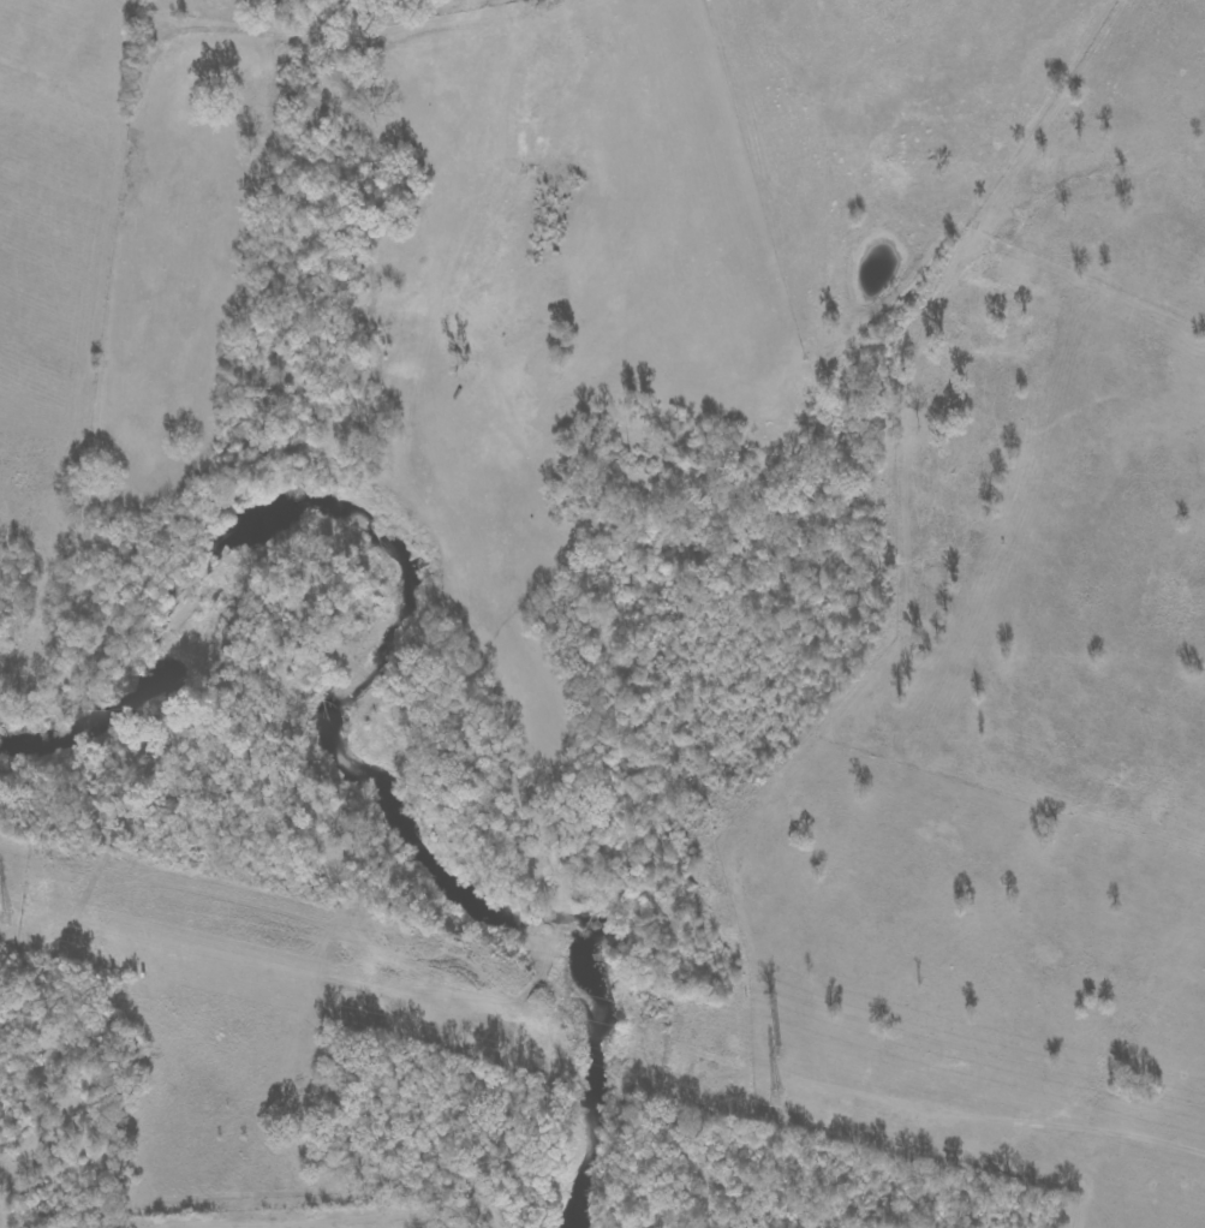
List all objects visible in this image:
power tower: (4, 920)
power tower: (777, 1054)
power tower: (774, 1099)

